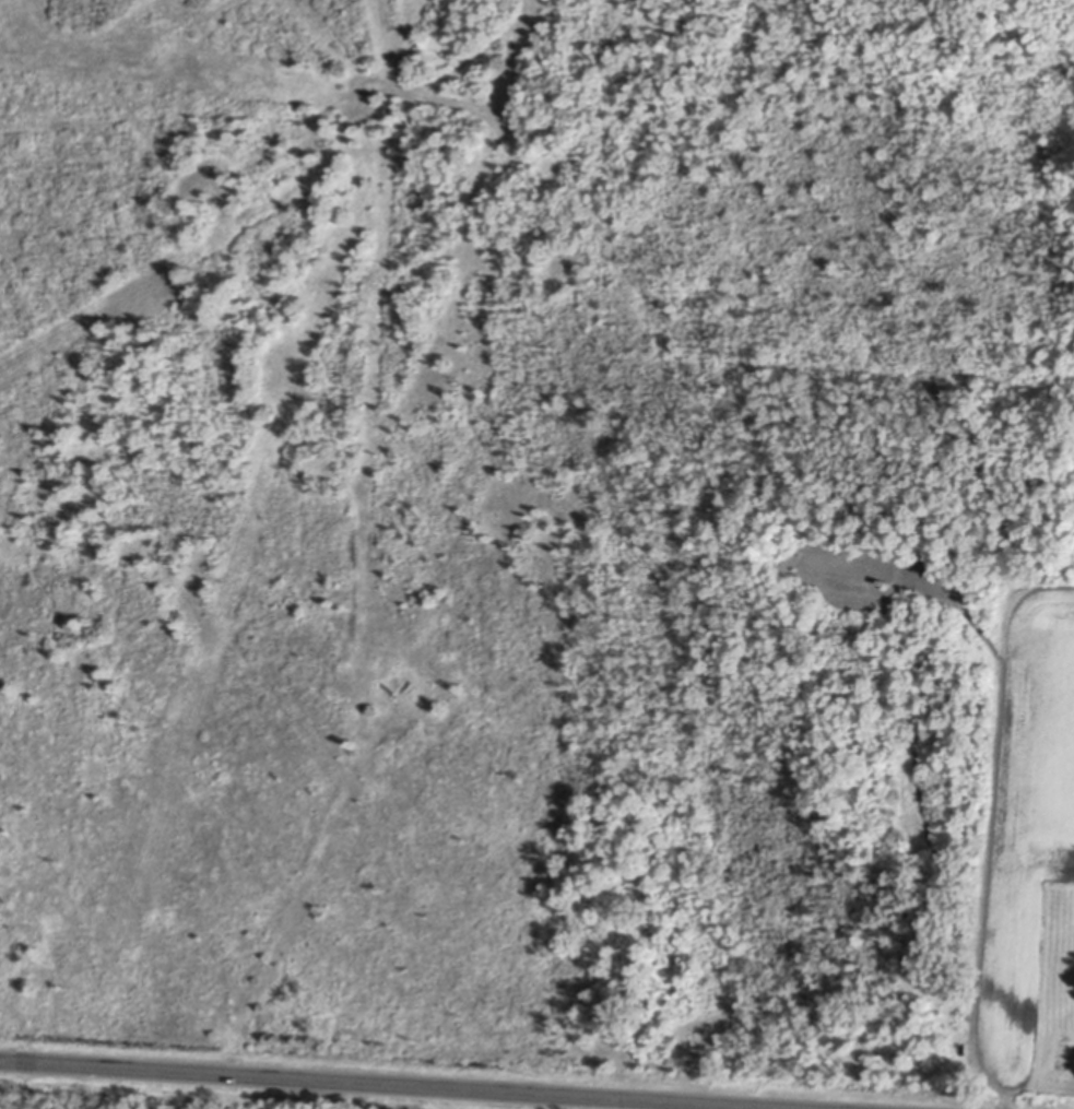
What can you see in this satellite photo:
road: (413, 1082)

